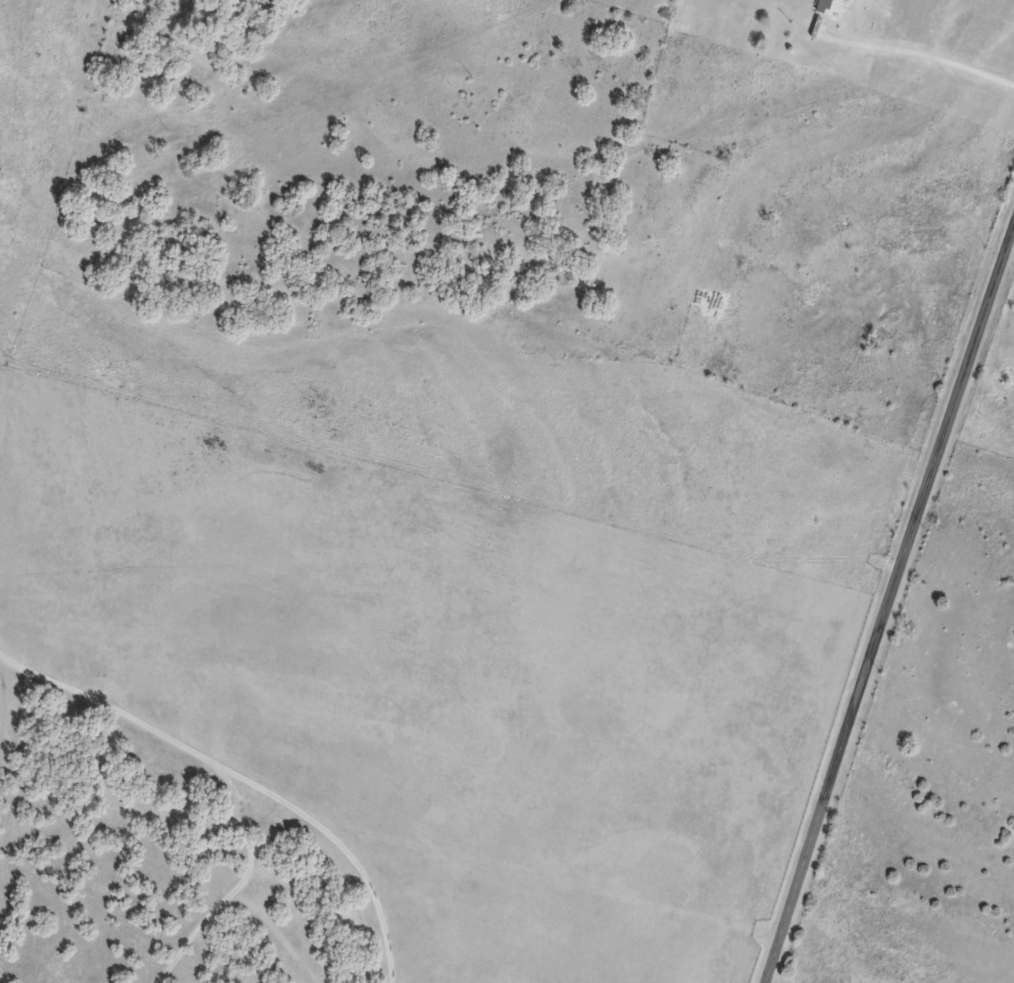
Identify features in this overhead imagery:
building: (832, 6)
road: (916, 52)
road: (886, 601)

